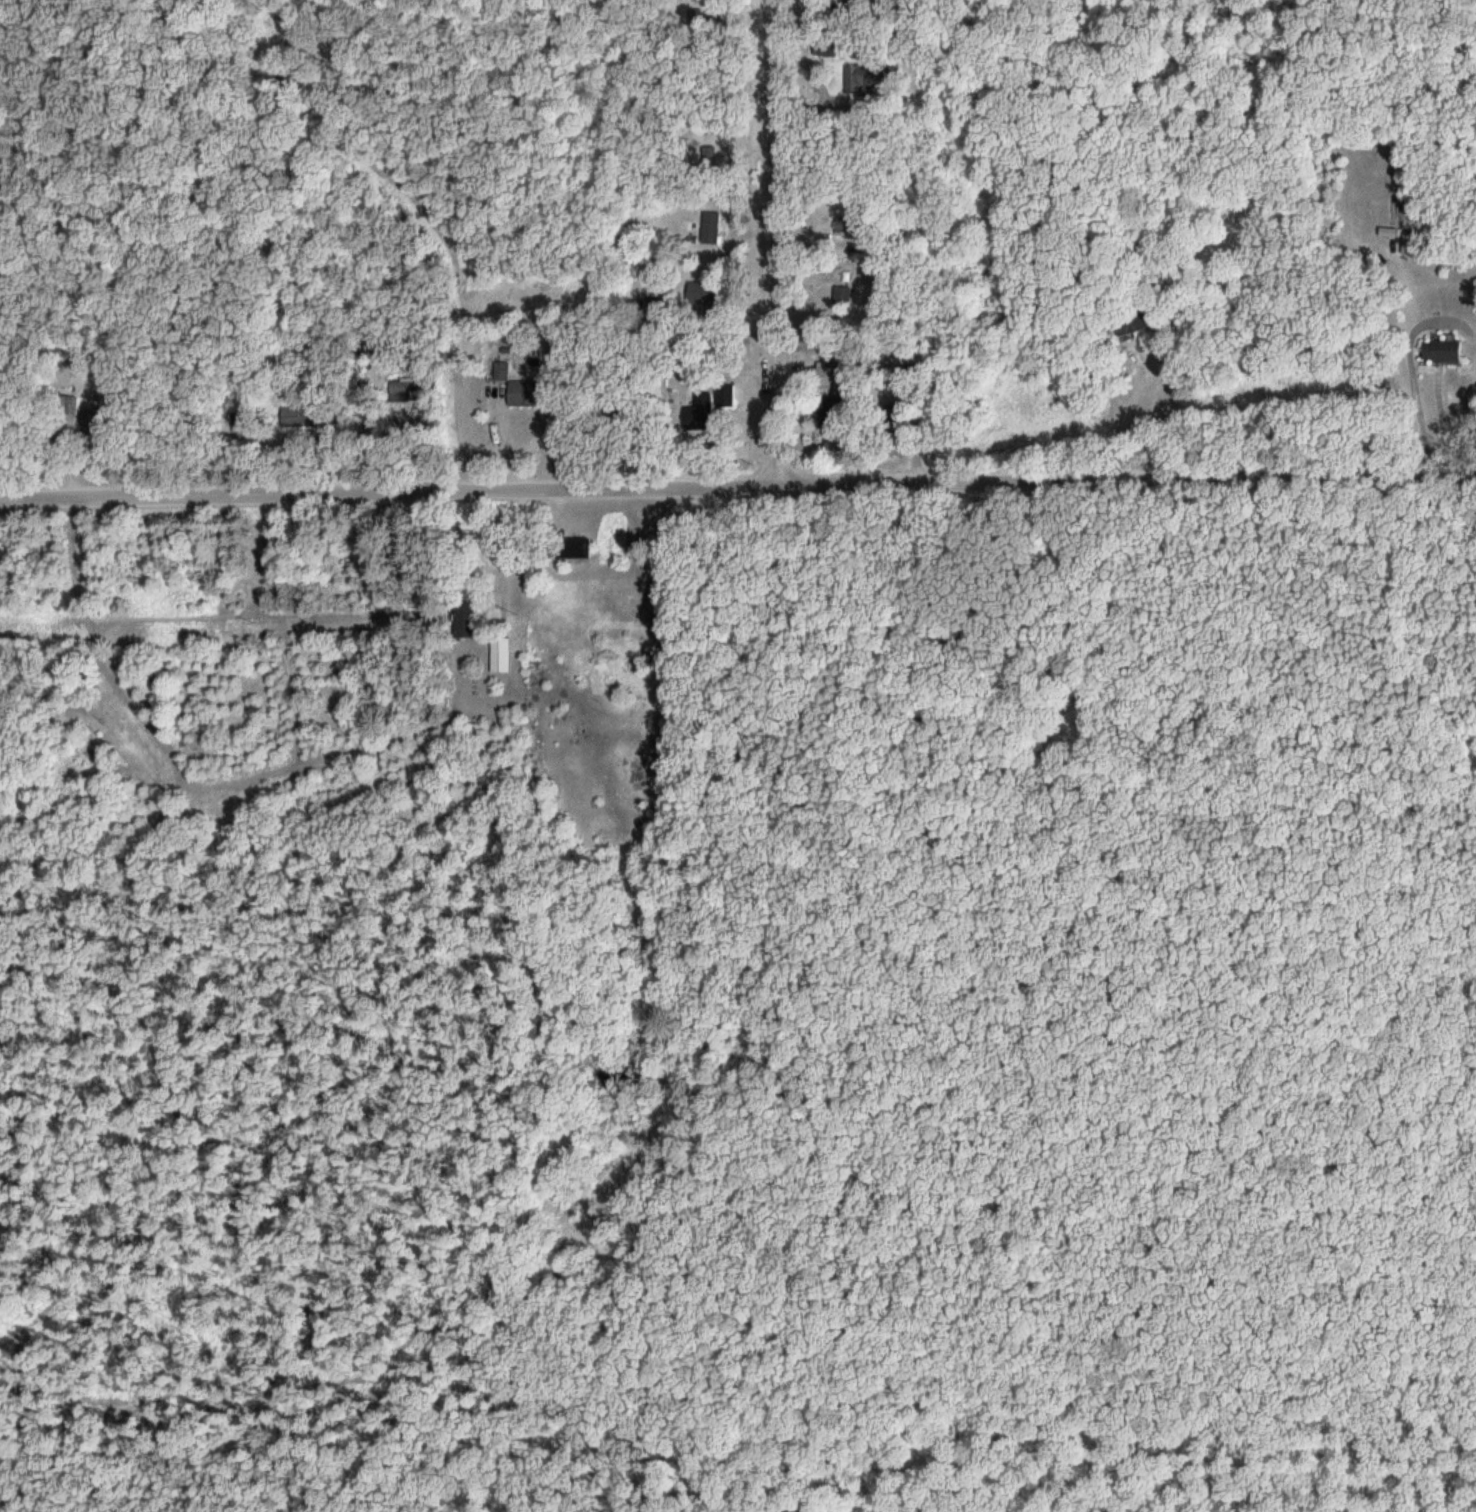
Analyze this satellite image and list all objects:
building: (713, 227)
road: (779, 241)
building: (844, 295)
building: (1444, 350)
building: (526, 393)
building: (728, 395)
building: (702, 414)
road: (737, 483)
road: (892, 542)
building: (576, 547)
building: (502, 654)

